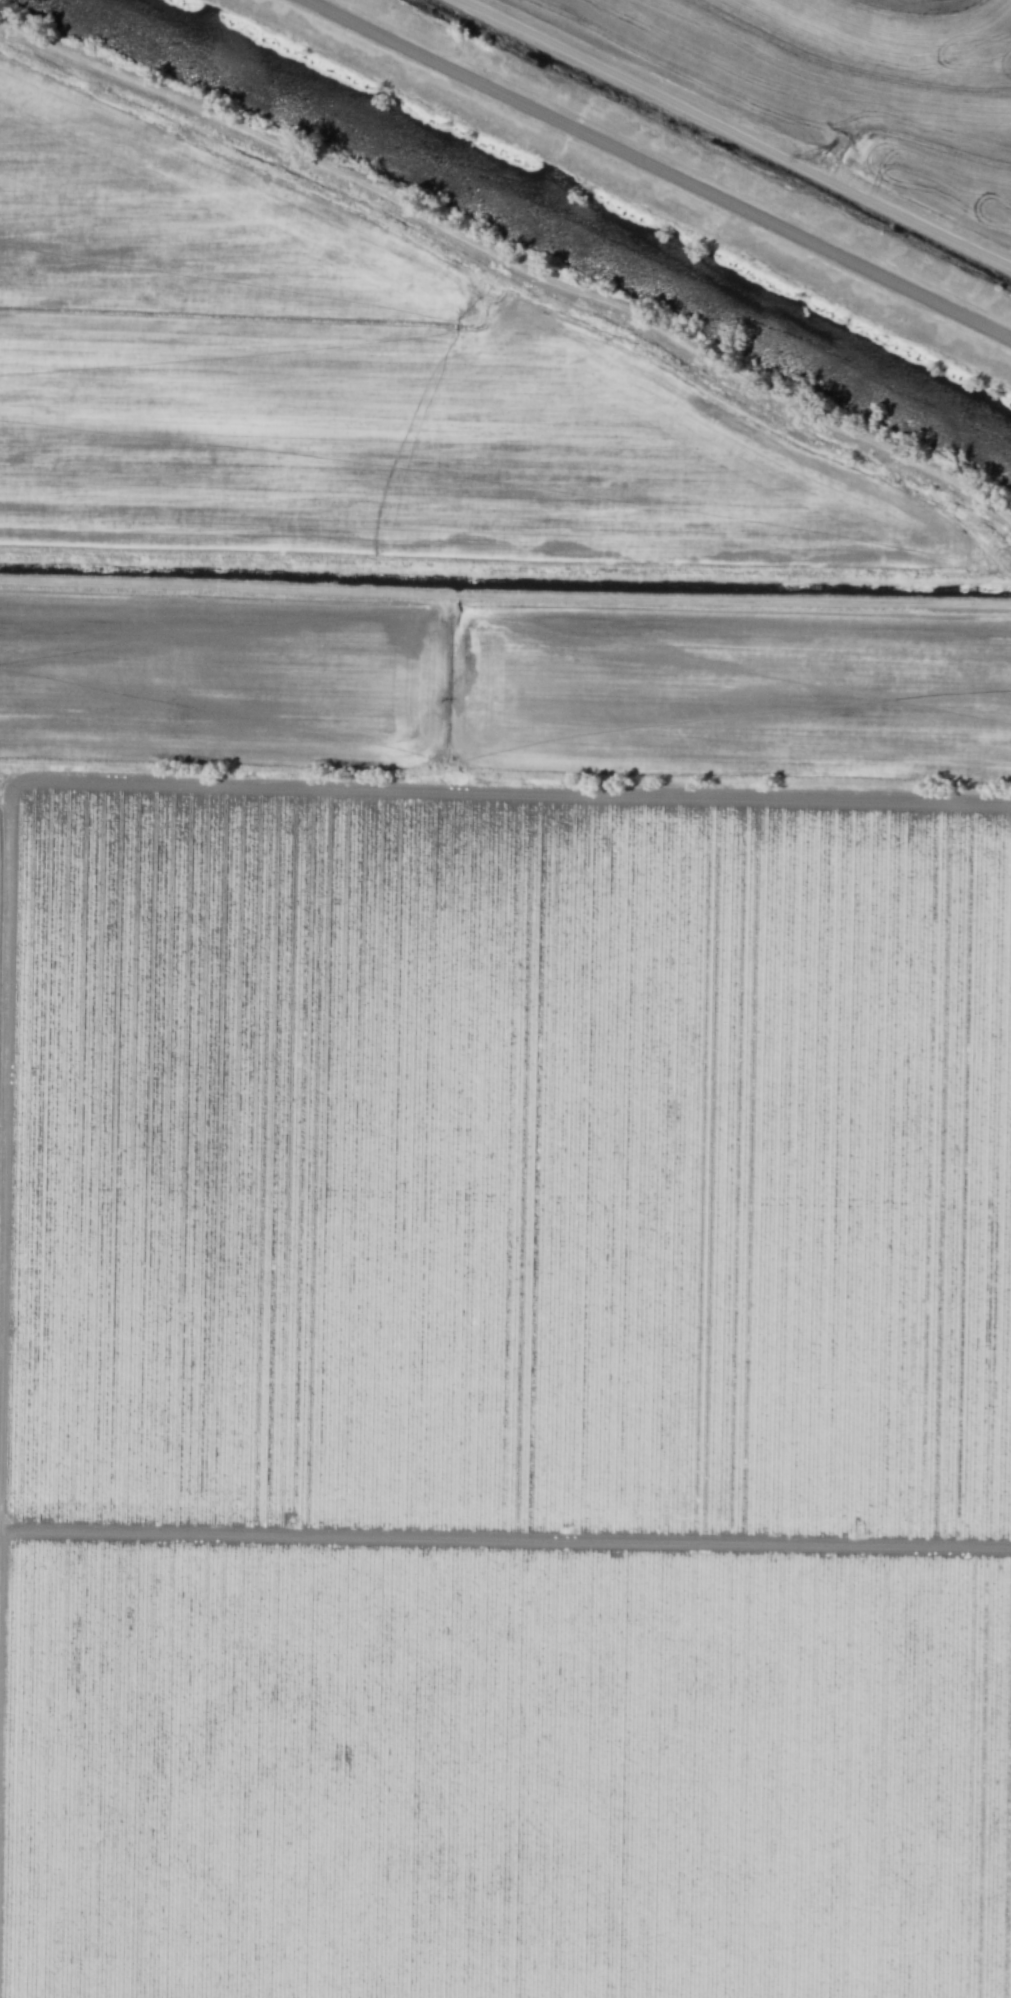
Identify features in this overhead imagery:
crop: (826, 100)
power tower: (823, 160)
road: (652, 170)

